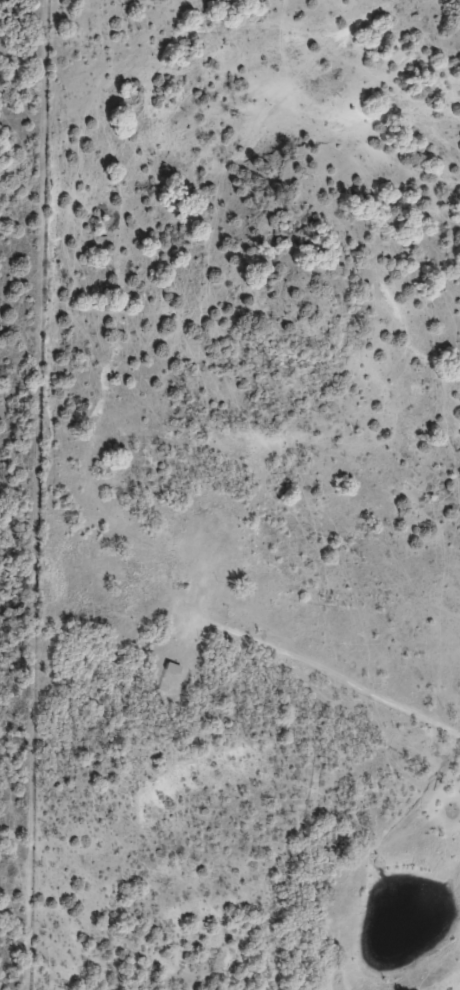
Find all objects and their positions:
road: (330, 681)

